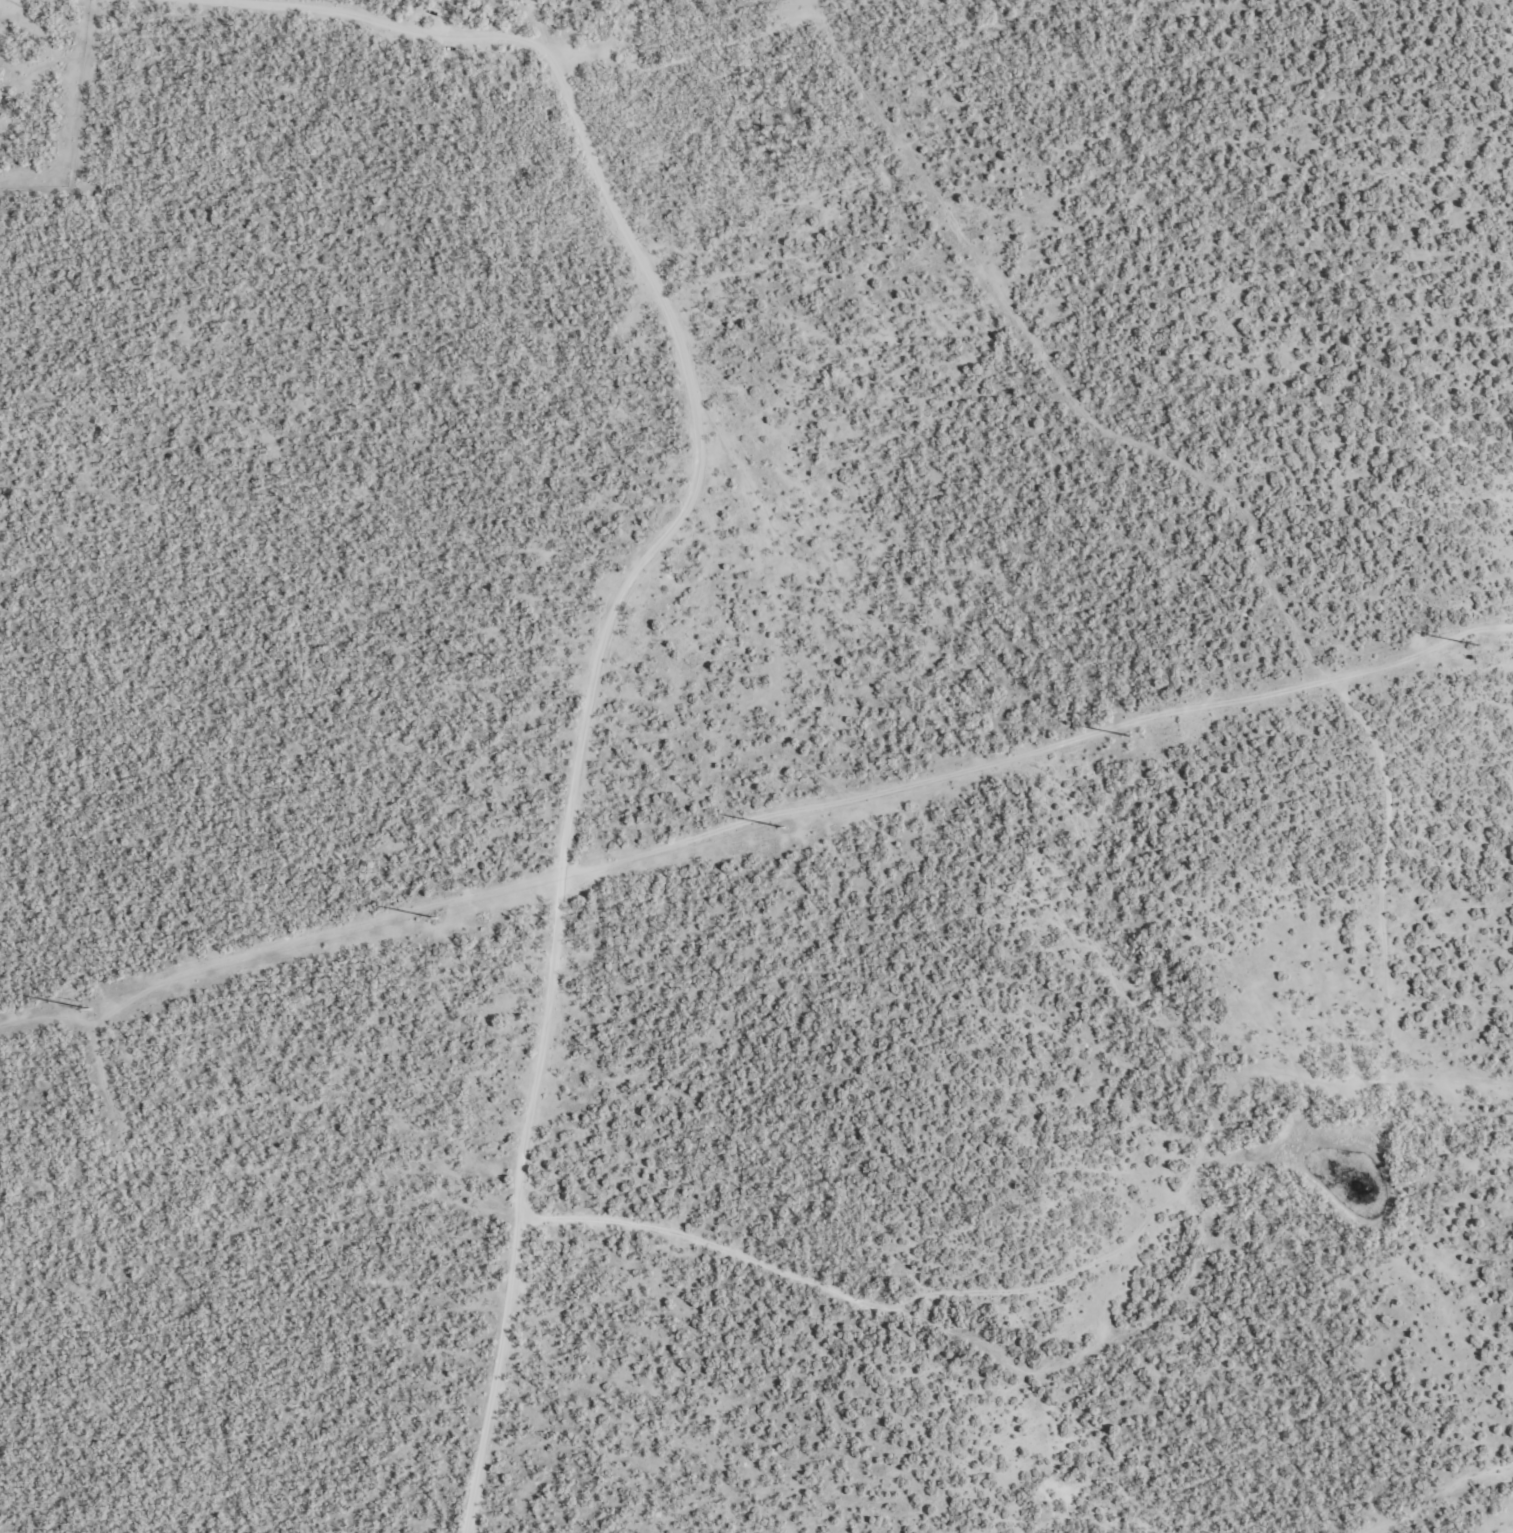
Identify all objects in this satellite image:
building: (488, 0)
road: (1012, 327)
power tower: (1466, 643)
power tower: (1127, 735)
road: (574, 769)
power tower: (781, 825)
power tower: (433, 916)
power tower: (87, 1007)

